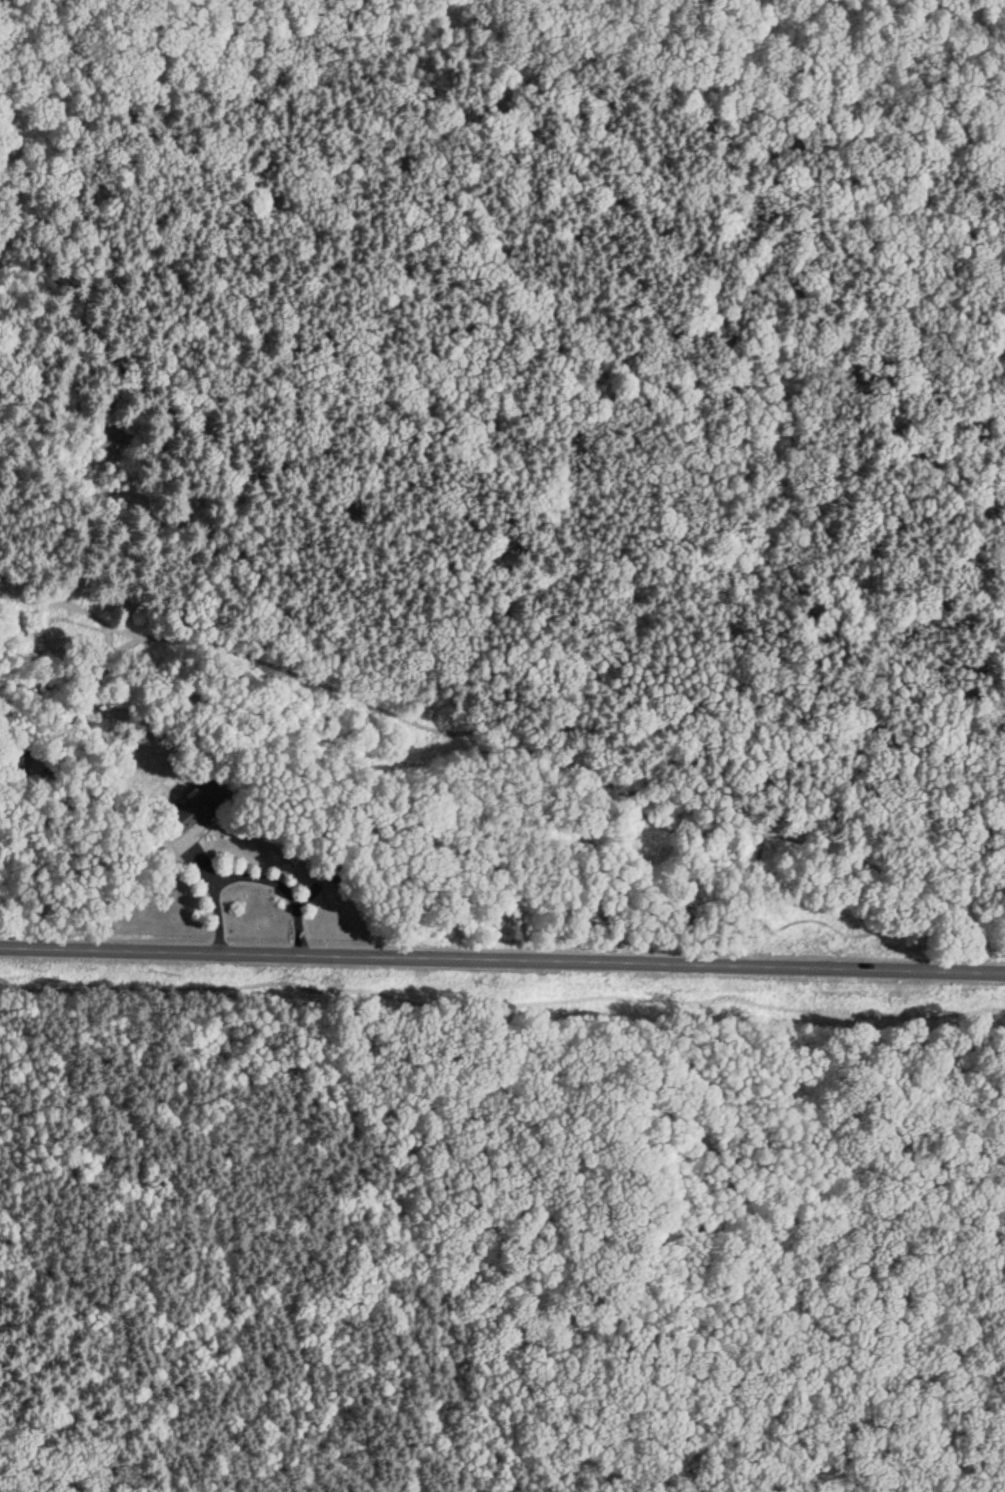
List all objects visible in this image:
road: (21, 602)
building: (19, 756)
road: (537, 760)
building: (191, 808)
road: (502, 958)
road: (38, 1474)

